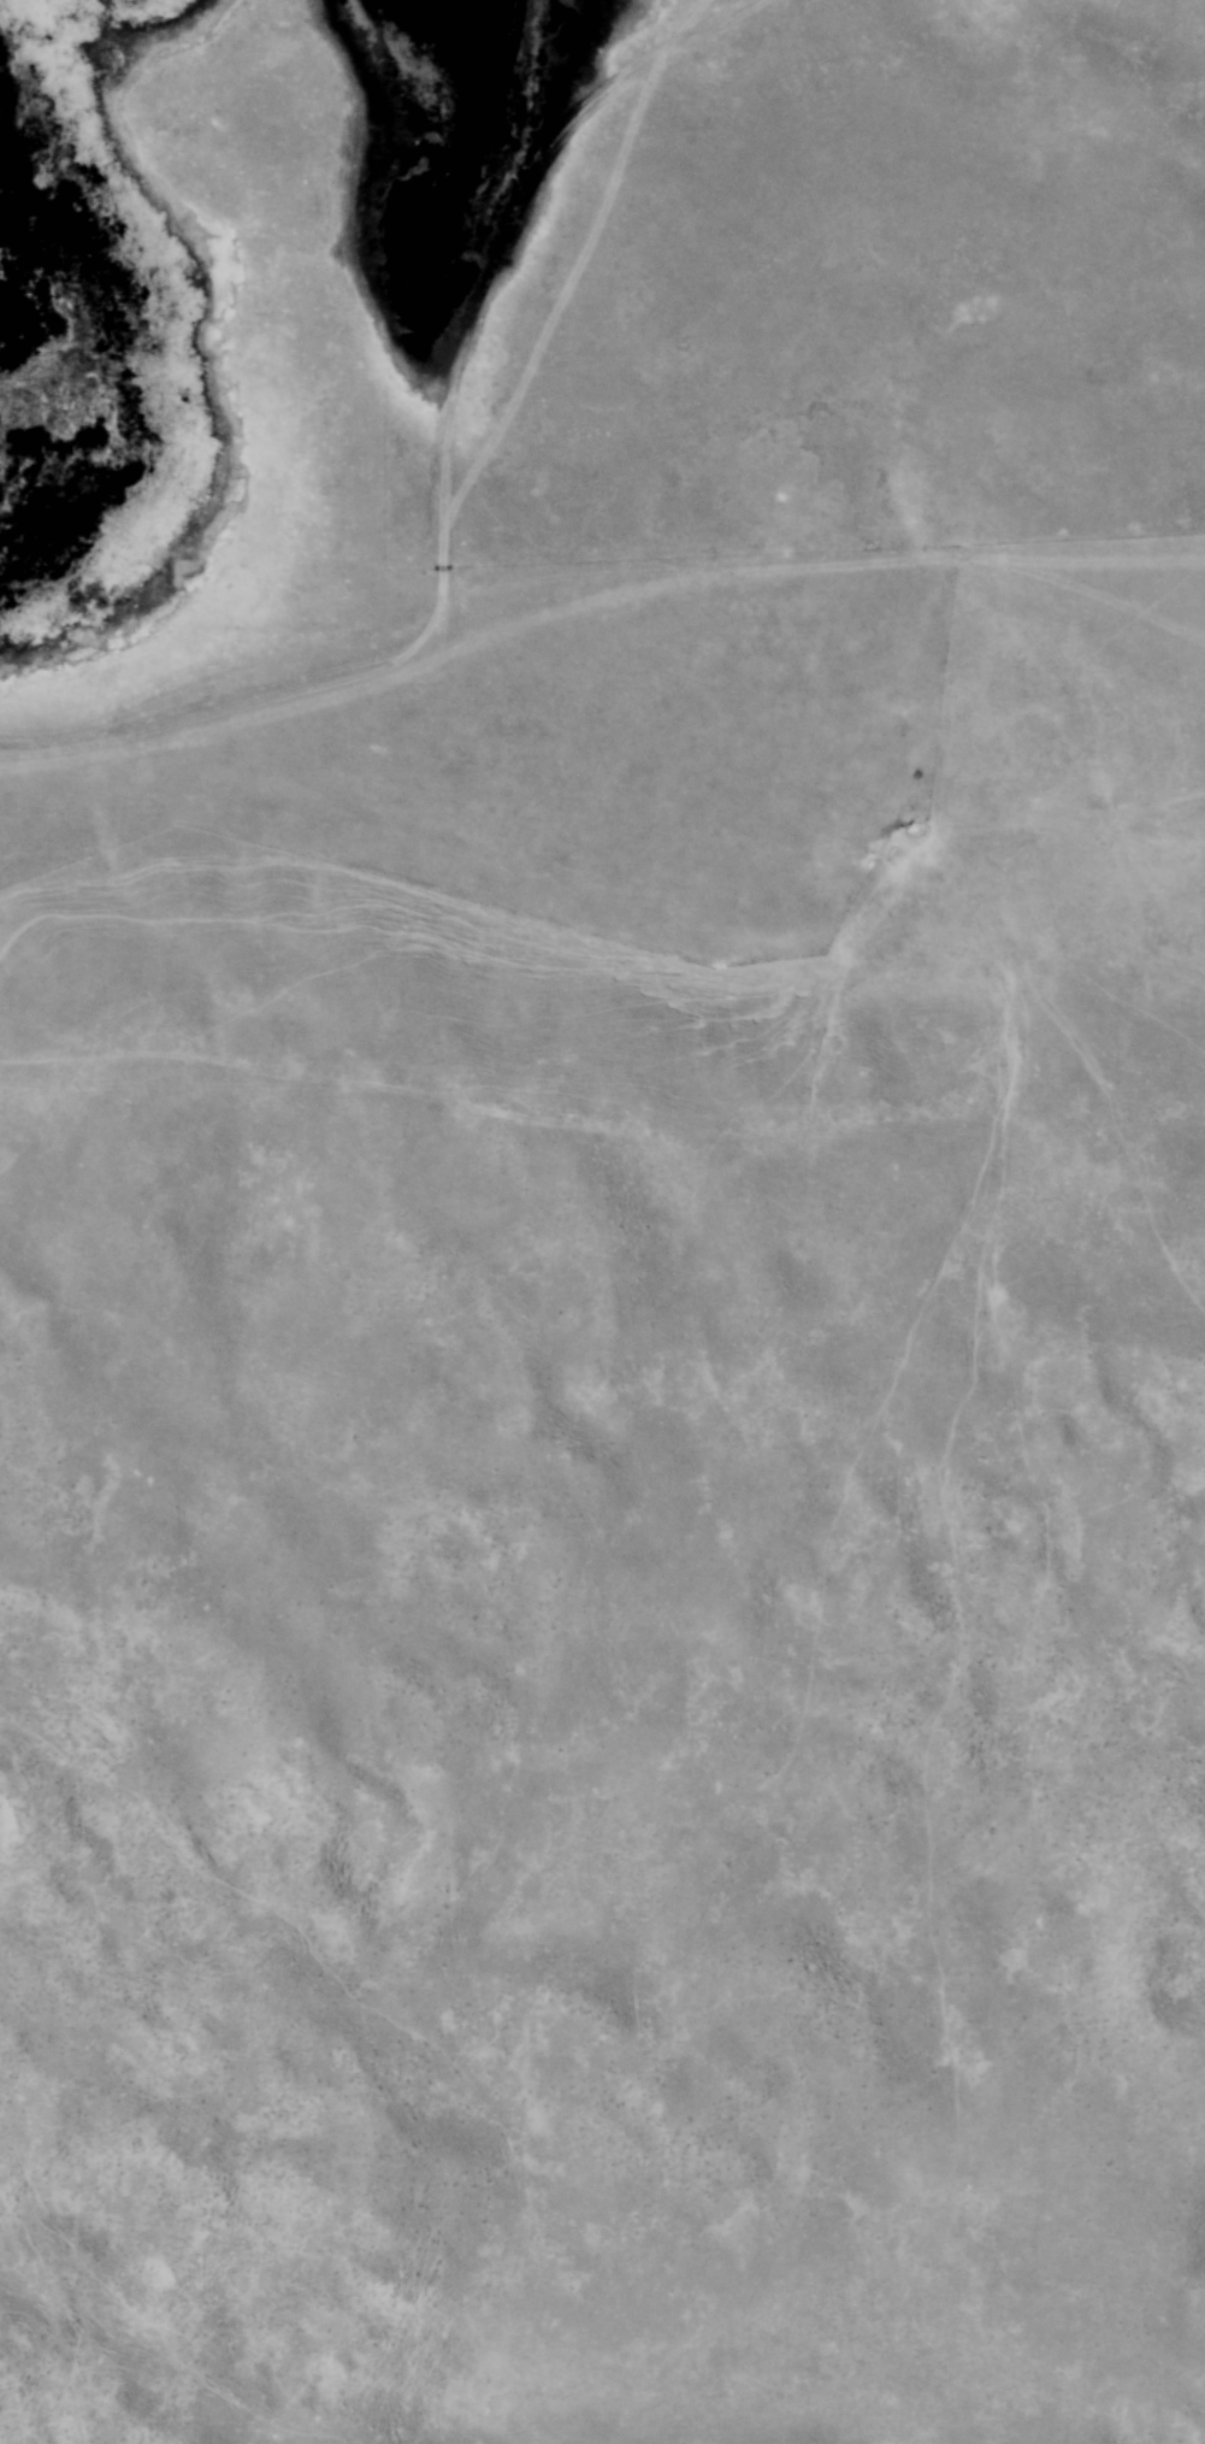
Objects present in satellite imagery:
road: (443, 481)

